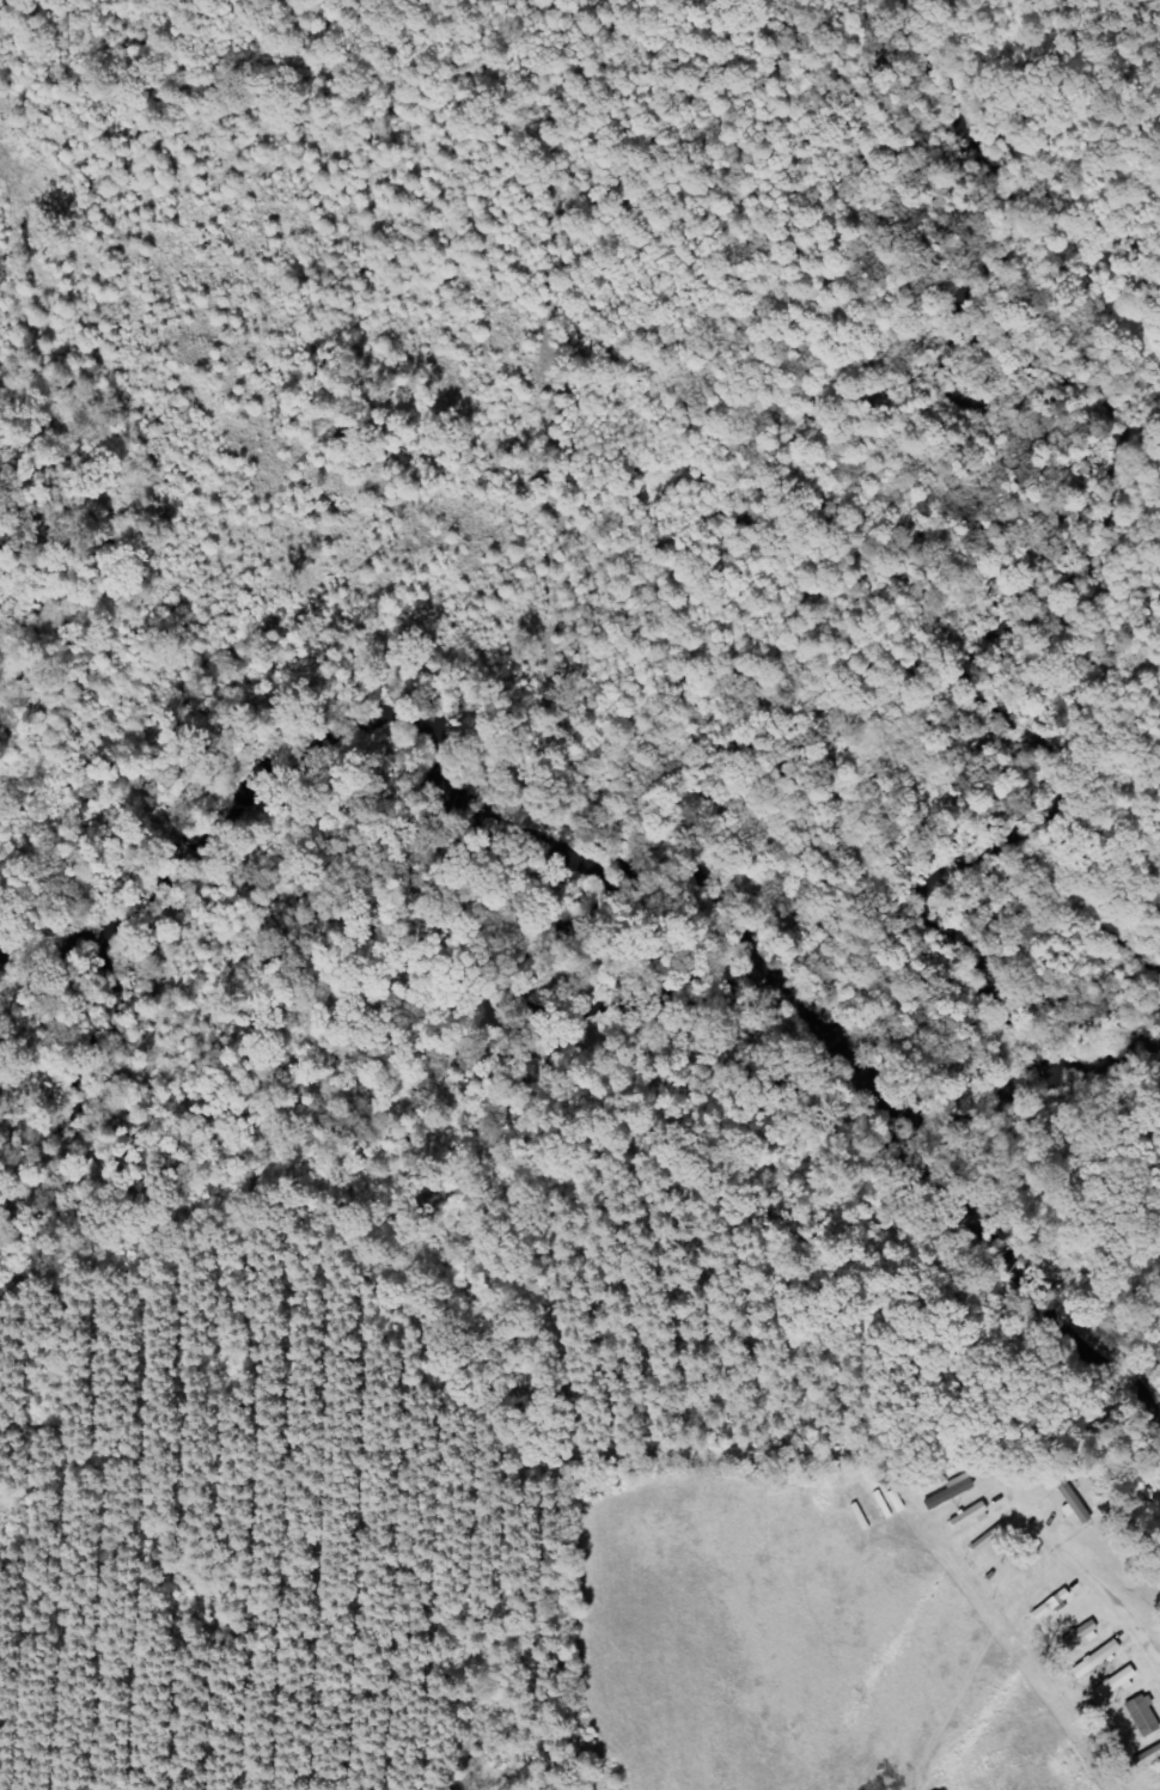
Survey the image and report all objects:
building: (950, 1490)
building: (965, 1515)
road: (1083, 1572)
building: (1077, 1632)
building: (1094, 1657)
building: (1113, 1681)
building: (1141, 1715)

